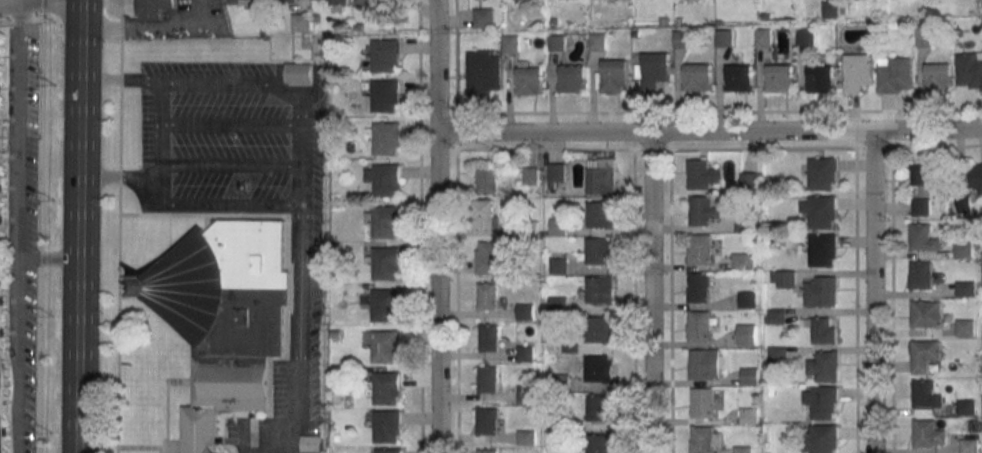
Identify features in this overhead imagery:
building: (293, 0)
building: (331, 1)
road: (81, 2)
building: (246, 2)
building: (372, 3)
road: (40, 6)
building: (155, 8)
building: (830, 9)
road: (200, 10)
building: (484, 17)
building: (301, 22)
road: (22, 23)
road: (139, 25)
building: (923, 35)
building: (762, 36)
building: (805, 36)
building: (723, 38)
building: (681, 39)
building: (556, 42)
building: (597, 42)
building: (511, 43)
building: (386, 55)
road: (438, 69)
building: (653, 69)
building: (969, 70)
building: (483, 72)
building: (855, 72)
building: (300, 73)
building: (895, 74)
building: (612, 75)
building: (697, 77)
building: (739, 77)
building: (779, 77)
building: (938, 77)
building: (530, 78)
building: (572, 78)
building: (821, 79)
road: (125, 81)
road: (230, 85)
building: (385, 95)
road: (162, 133)
building: (385, 138)
road: (710, 139)
building: (0, 149)
building: (822, 173)
building: (557, 174)
building: (699, 174)
building: (925, 175)
building: (531, 176)
building: (601, 176)
road: (129, 178)
building: (976, 178)
building: (384, 179)
building: (487, 180)
building: (748, 180)
building: (965, 204)
road: (231, 205)
building: (921, 205)
building: (702, 210)
building: (820, 211)
building: (486, 213)
building: (602, 213)
road: (41, 226)
building: (558, 226)
road: (78, 228)
road: (18, 229)
building: (923, 238)
building: (700, 249)
building: (962, 249)
building: (823, 250)
building: (600, 251)
building: (491, 257)
road: (48, 259)
building: (743, 261)
building: (386, 263)
road: (304, 264)
building: (559, 266)
building: (921, 275)
building: (784, 279)
building: (699, 287)
building: (966, 289)
building: (600, 290)
building: (821, 291)
road: (872, 295)
road: (439, 296)
building: (487, 296)
road: (648, 296)
building: (748, 300)
building: (558, 304)
building: (385, 305)
building: (525, 311)
building: (927, 314)
building: (777, 316)
building: (227, 317)
building: (701, 325)
building: (966, 328)
building: (600, 329)
building: (822, 329)
building: (747, 335)
building: (489, 337)
building: (386, 346)
building: (525, 353)
building: (778, 355)
building: (925, 355)
building: (705, 363)
building: (824, 367)
building: (600, 368)
building: (2, 371)
building: (750, 376)
building: (488, 380)
building: (387, 387)
building: (526, 394)
building: (927, 394)
building: (822, 401)
building: (703, 402)
building: (967, 407)
building: (601, 408)
building: (749, 415)
building: (487, 420)
building: (387, 426)
building: (929, 434)
building: (527, 437)
building: (706, 438)
building: (821, 438)
building: (311, 443)
building: (601, 443)
road: (273, 444)
building: (970, 446)
road: (292, 448)
building: (744, 449)
building: (388, 450)
building: (487, 451)

